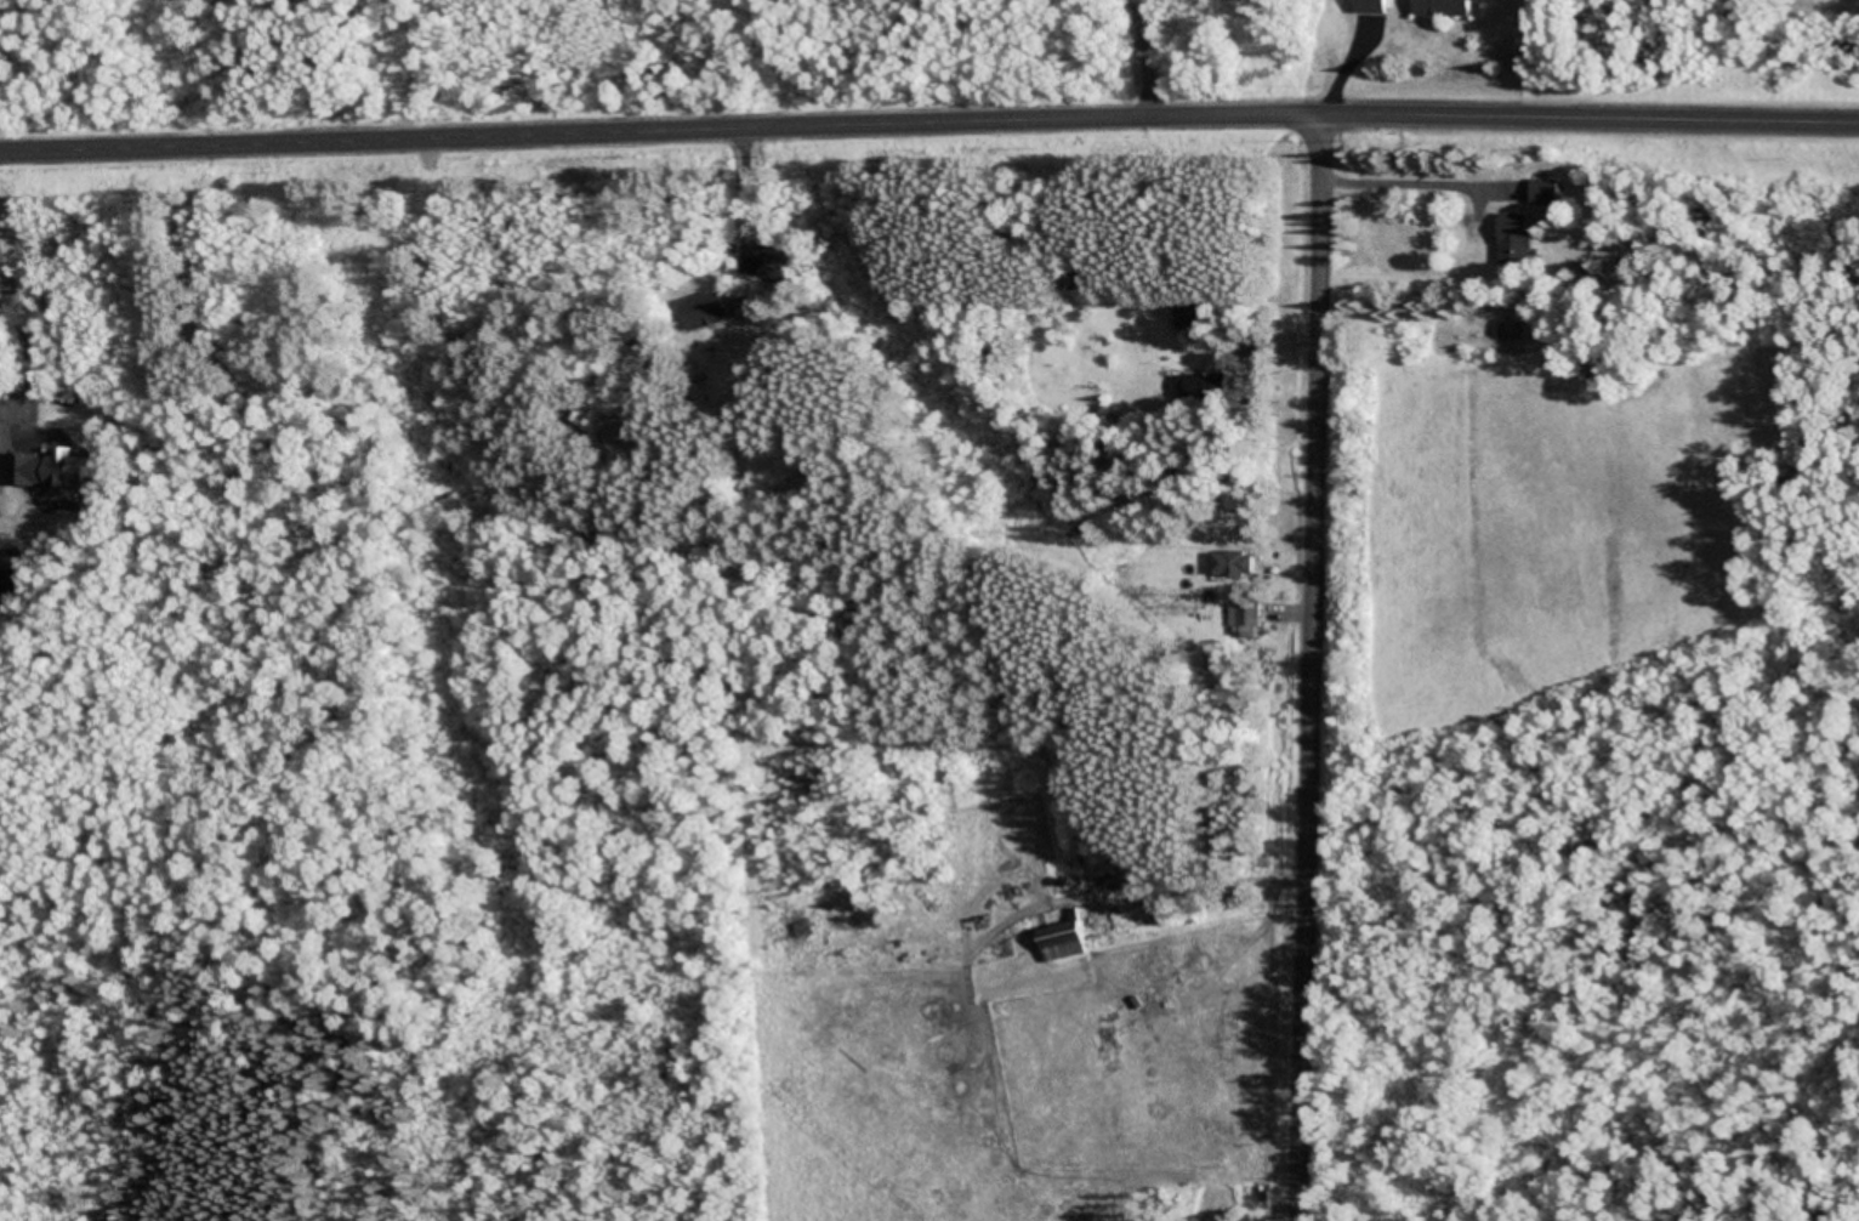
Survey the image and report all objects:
building: (1370, 7)
building: (1440, 8)
road: (928, 124)
building: (1541, 194)
building: (1580, 194)
building: (1511, 240)
building: (775, 271)
building: (704, 314)
building: (1187, 319)
building: (1255, 346)
building: (1203, 387)
building: (1232, 566)
building: (1244, 623)
road: (1311, 666)
building: (1061, 943)

